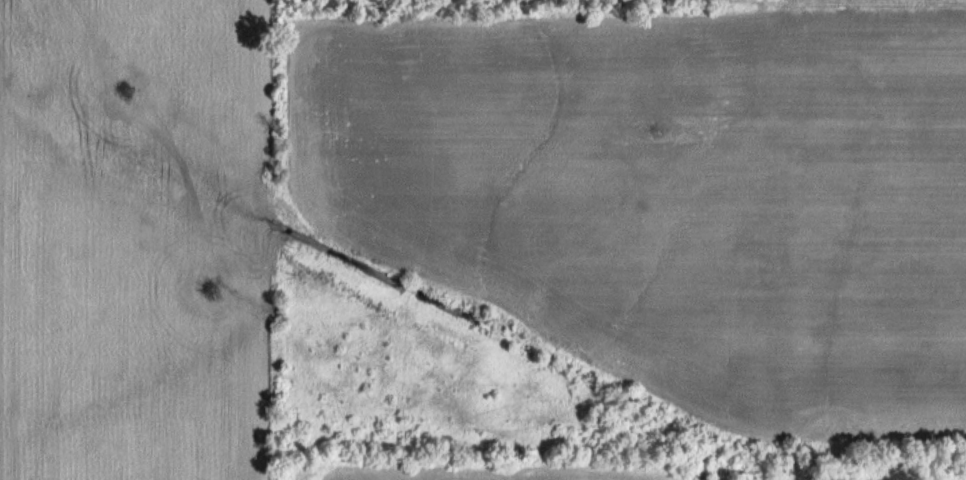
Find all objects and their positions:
crop: (166, 71)

